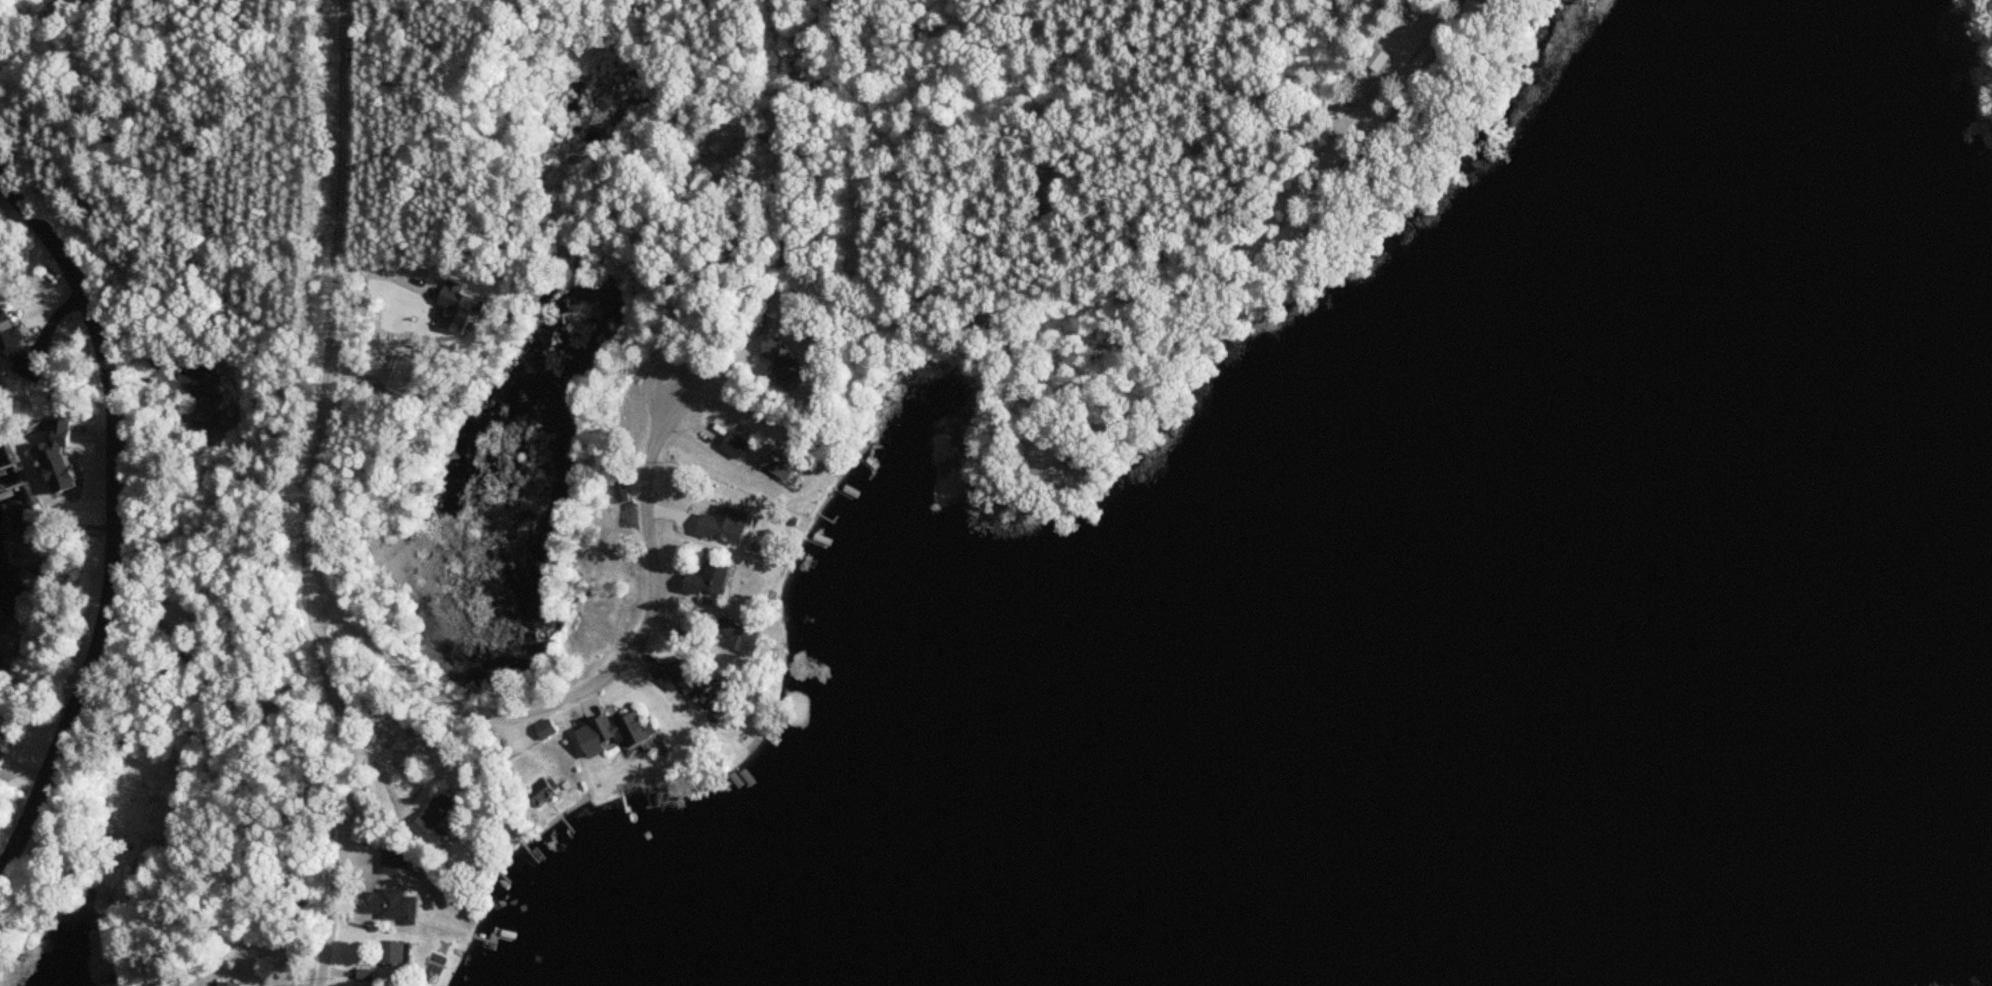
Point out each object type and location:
building: (1475, 8)
road: (1092, 52)
building: (1446, 66)
building: (1405, 119)
road: (1351, 127)
road: (1255, 134)
road: (777, 157)
building: (1355, 171)
road: (1295, 221)
road: (1249, 232)
building: (1295, 235)
building: (734, 447)
building: (1078, 460)
building: (776, 462)
road: (314, 496)
road: (115, 520)
building: (726, 527)
building: (710, 581)
building: (740, 638)
building: (685, 678)
road: (581, 688)
building: (546, 730)
building: (624, 731)
building: (5, 742)
building: (546, 798)
building: (433, 818)
building: (395, 863)
building: (388, 906)
building: (396, 955)
building: (228, 984)

